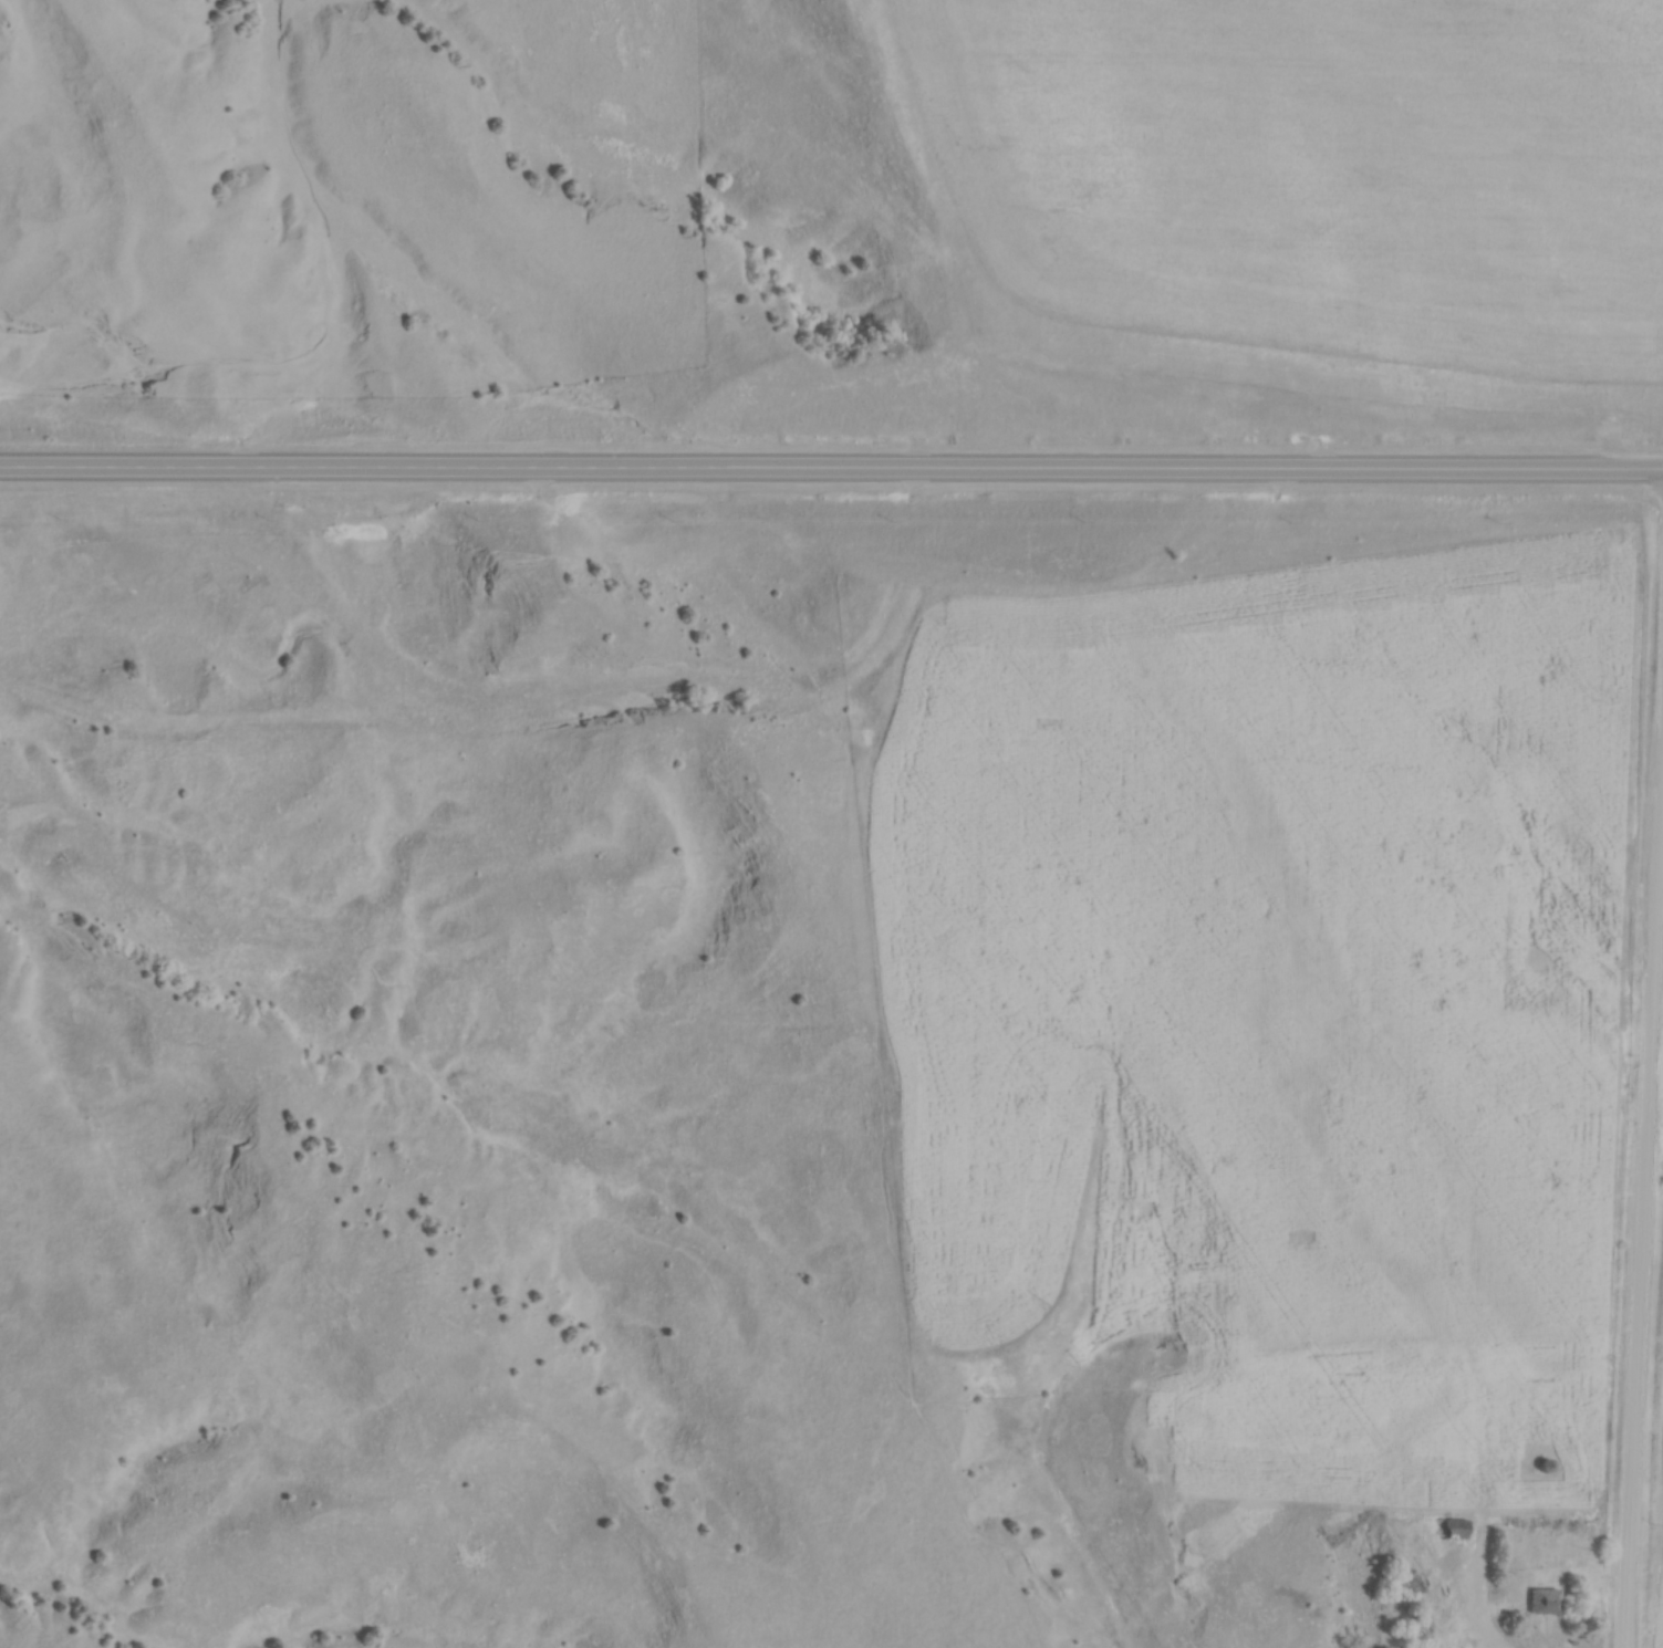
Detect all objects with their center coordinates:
road: (831, 470)
road: (1642, 1228)
building: (1454, 1532)
road: (1473, 1604)
building: (1542, 1605)

